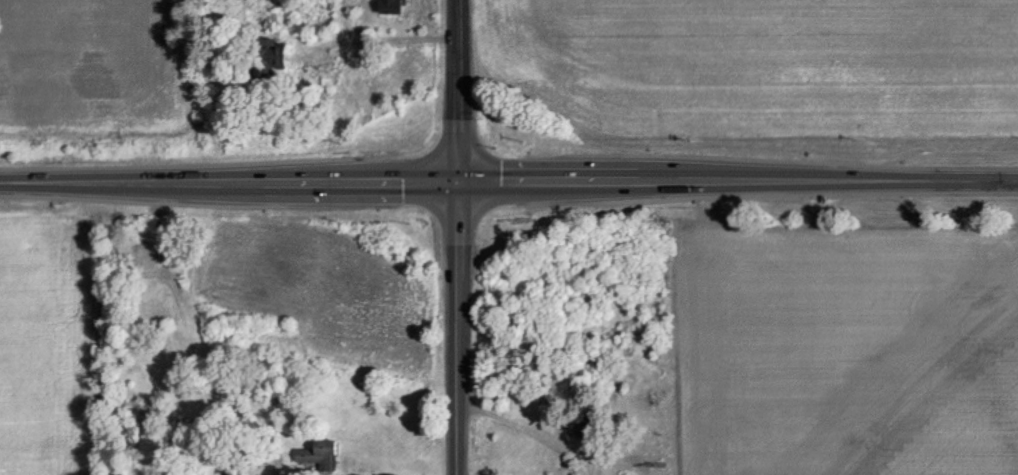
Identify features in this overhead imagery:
building: (388, 6)
road: (380, 40)
building: (263, 57)
crop: (748, 72)
road: (453, 90)
road: (227, 181)
traffic signals: (454, 181)
road: (736, 181)
building: (142, 254)
road: (455, 328)
building: (318, 454)
building: (240, 471)

